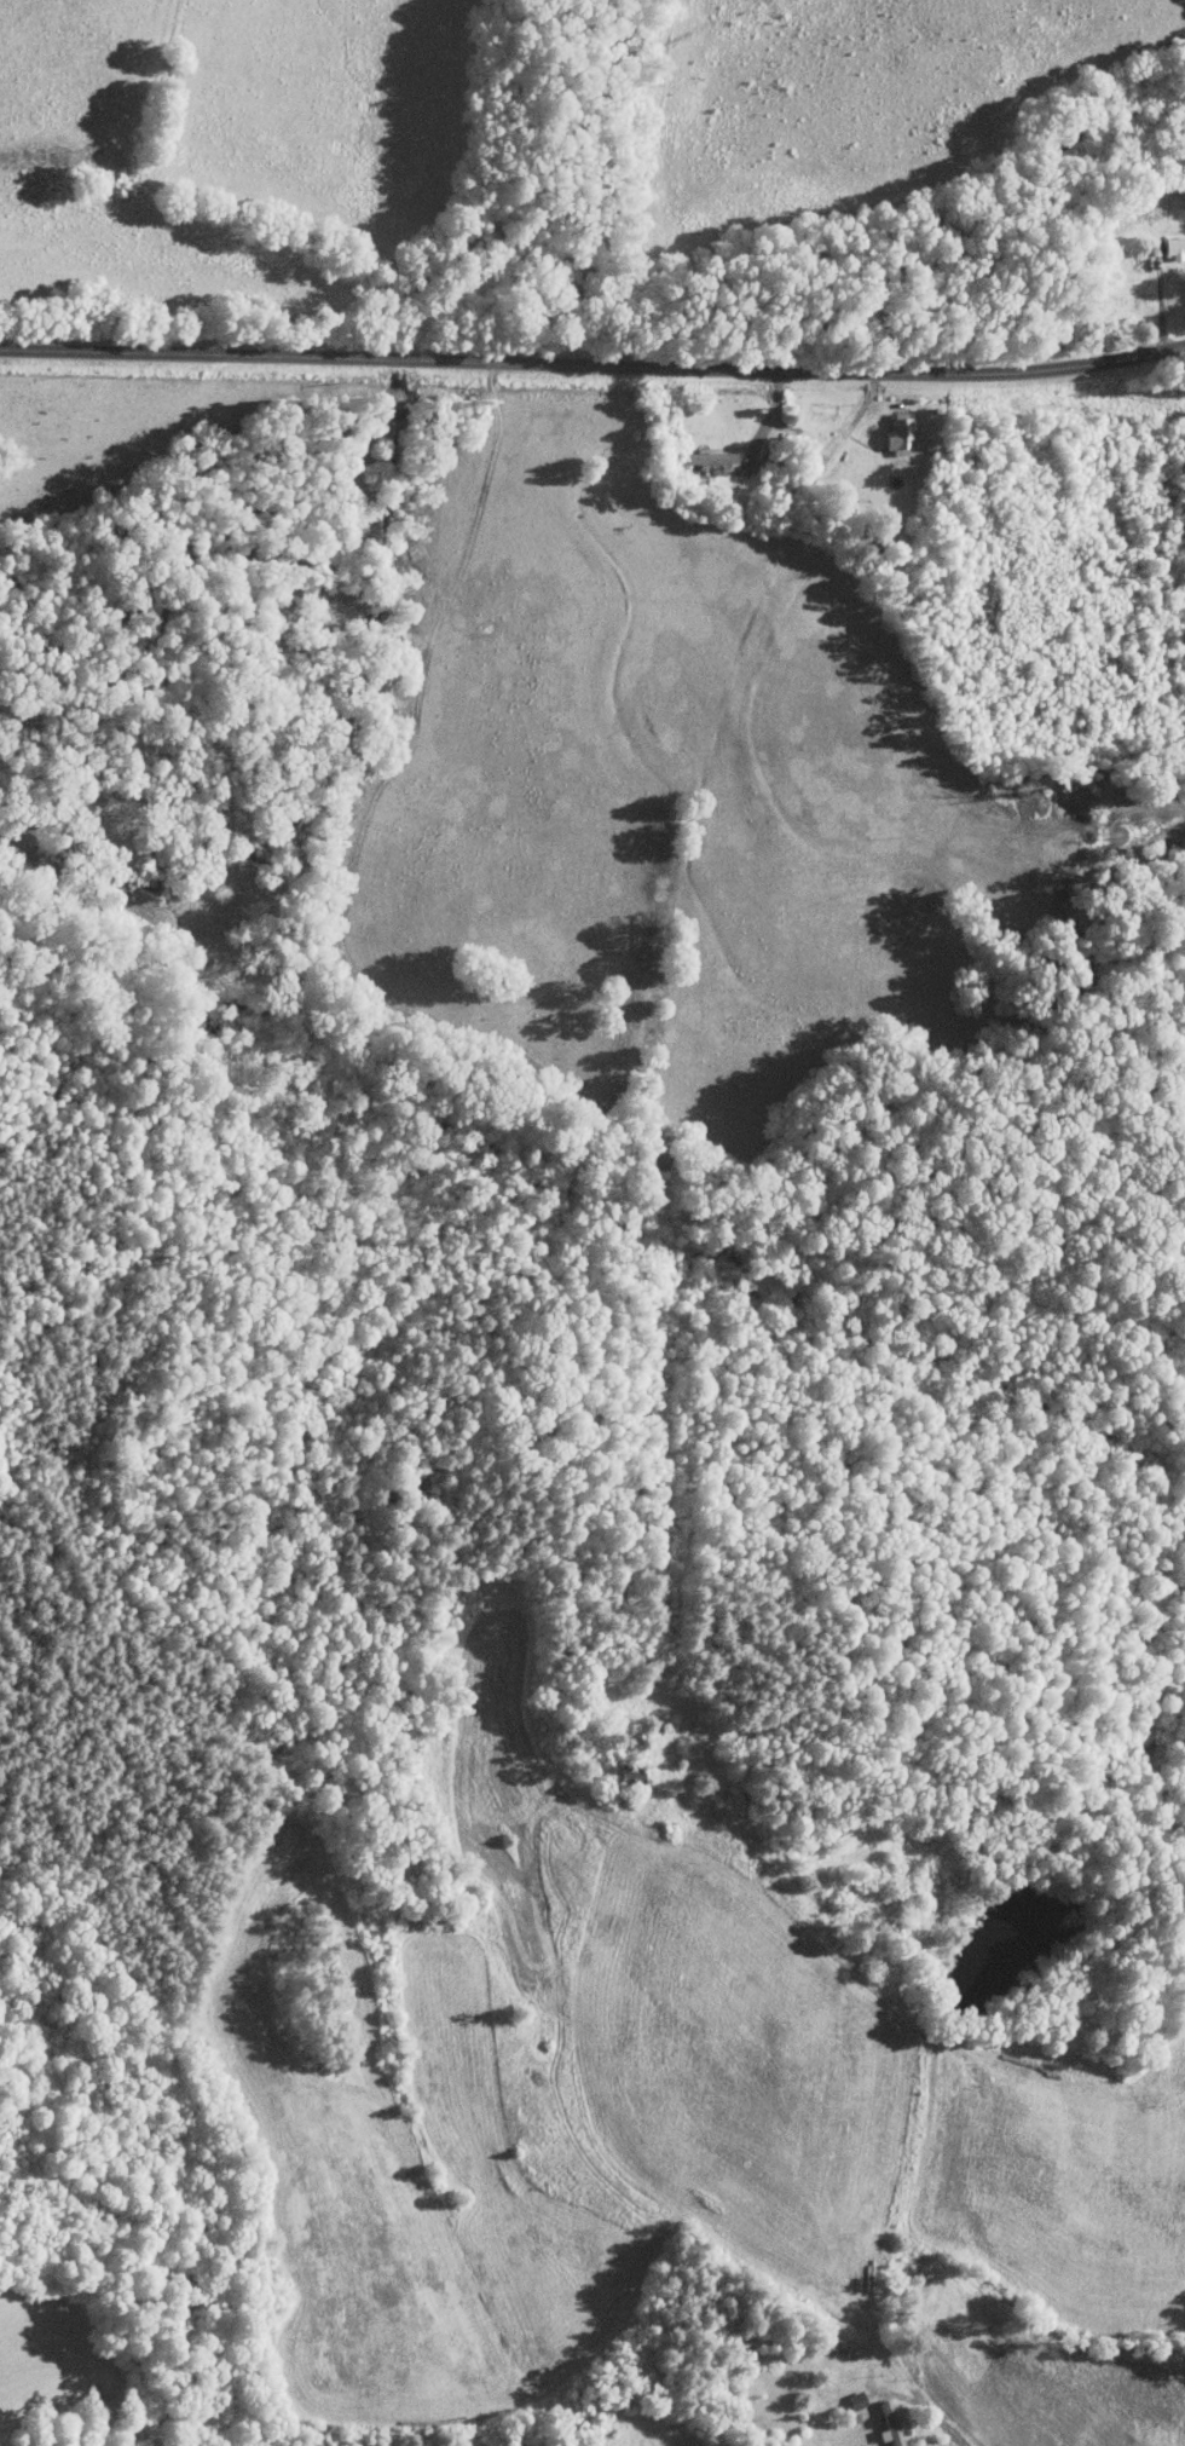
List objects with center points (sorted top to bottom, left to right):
building: (1172, 246)
road: (594, 374)
building: (901, 434)
building: (707, 457)
road: (927, 2095)
building: (886, 2424)

